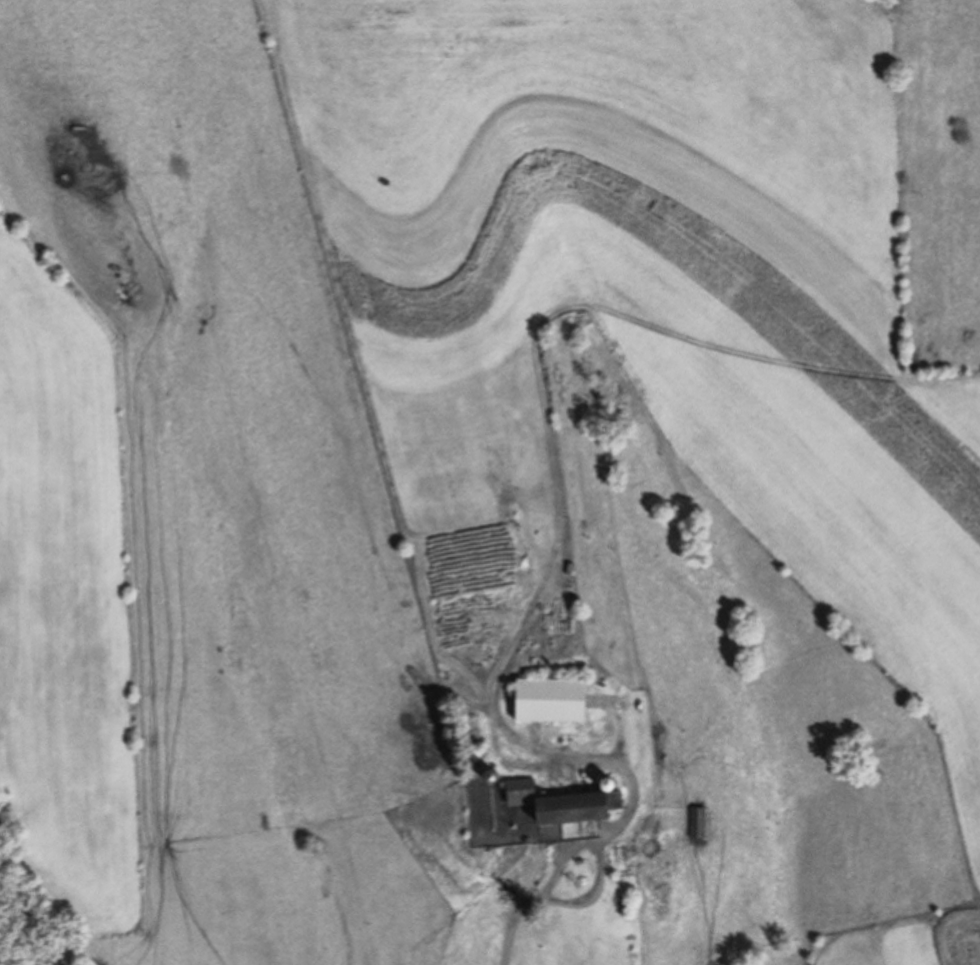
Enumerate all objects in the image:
building: (550, 700)
building: (564, 803)
building: (698, 822)
building: (613, 855)
road: (514, 959)

